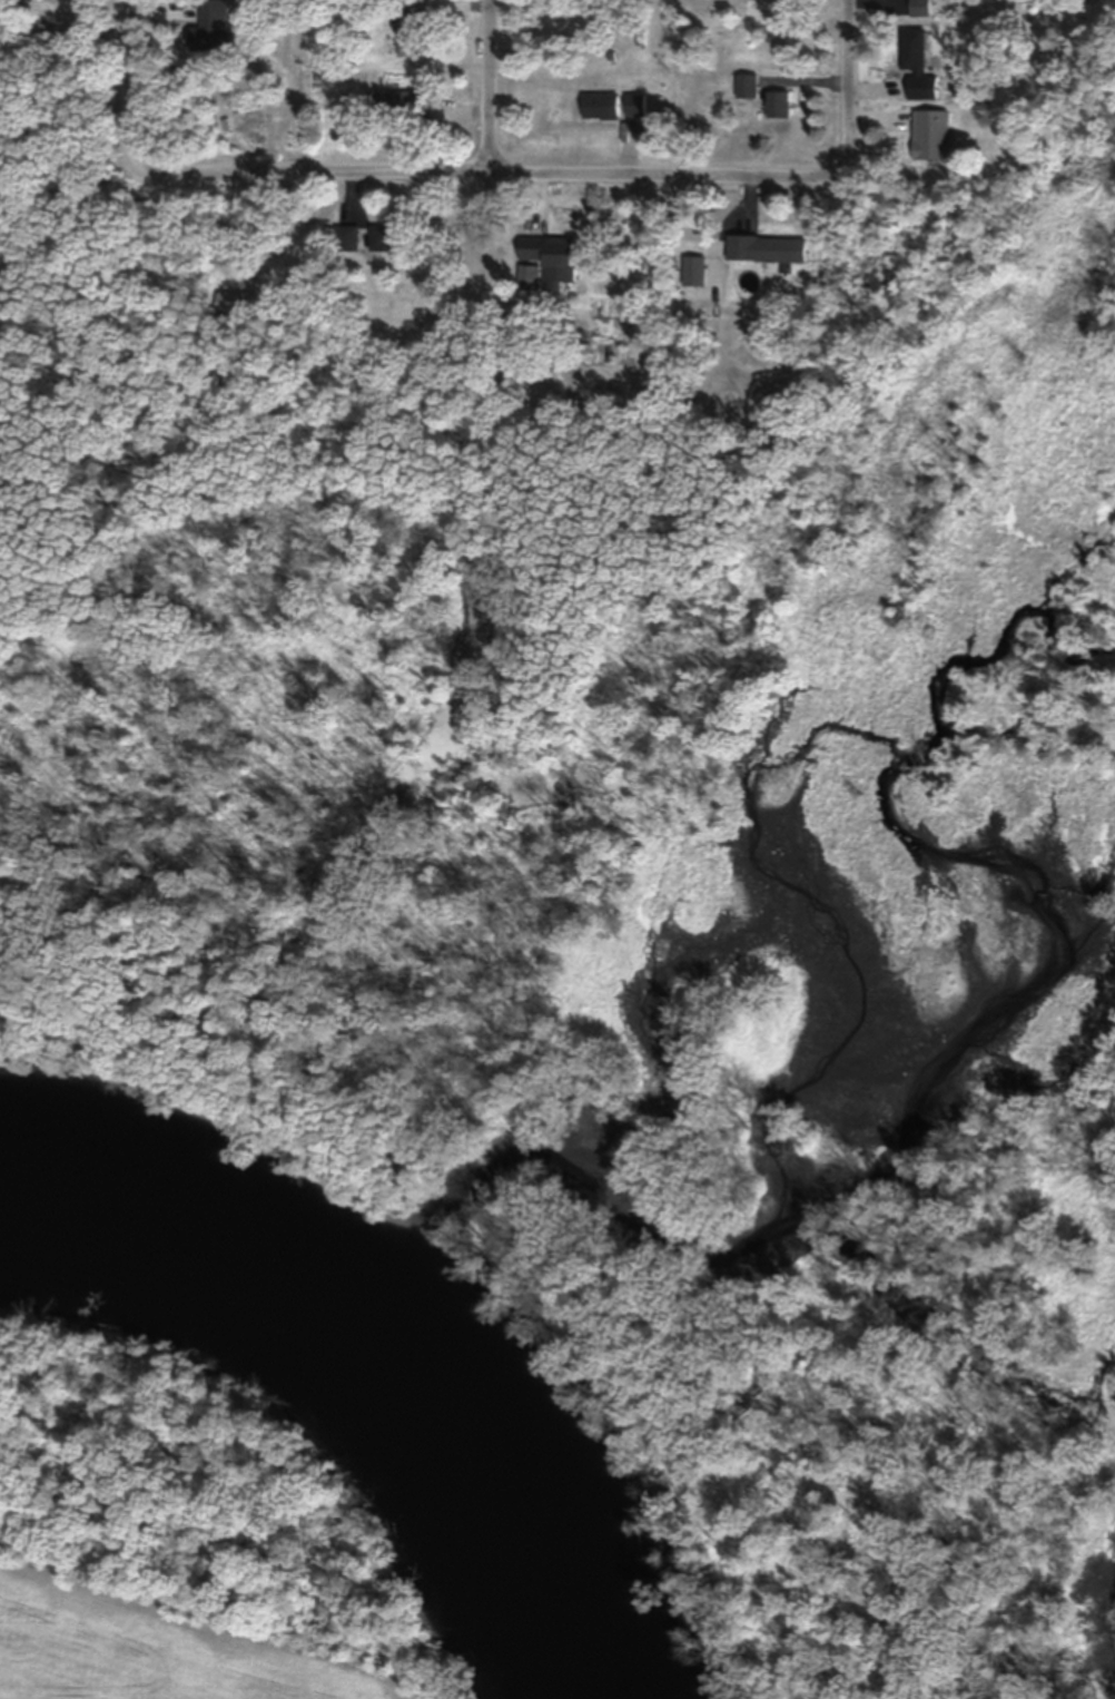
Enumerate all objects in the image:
building: (921, 8)
building: (413, 32)
building: (915, 49)
road: (130, 77)
building: (749, 87)
building: (919, 88)
road: (487, 89)
road: (849, 92)
building: (398, 104)
building: (638, 105)
building: (780, 105)
building: (604, 106)
building: (933, 136)
road: (480, 179)
building: (389, 238)
building: (349, 239)
building: (768, 248)
building: (554, 257)
building: (532, 278)
building: (239, 305)
park: (199, 708)
river: (368, 1364)

